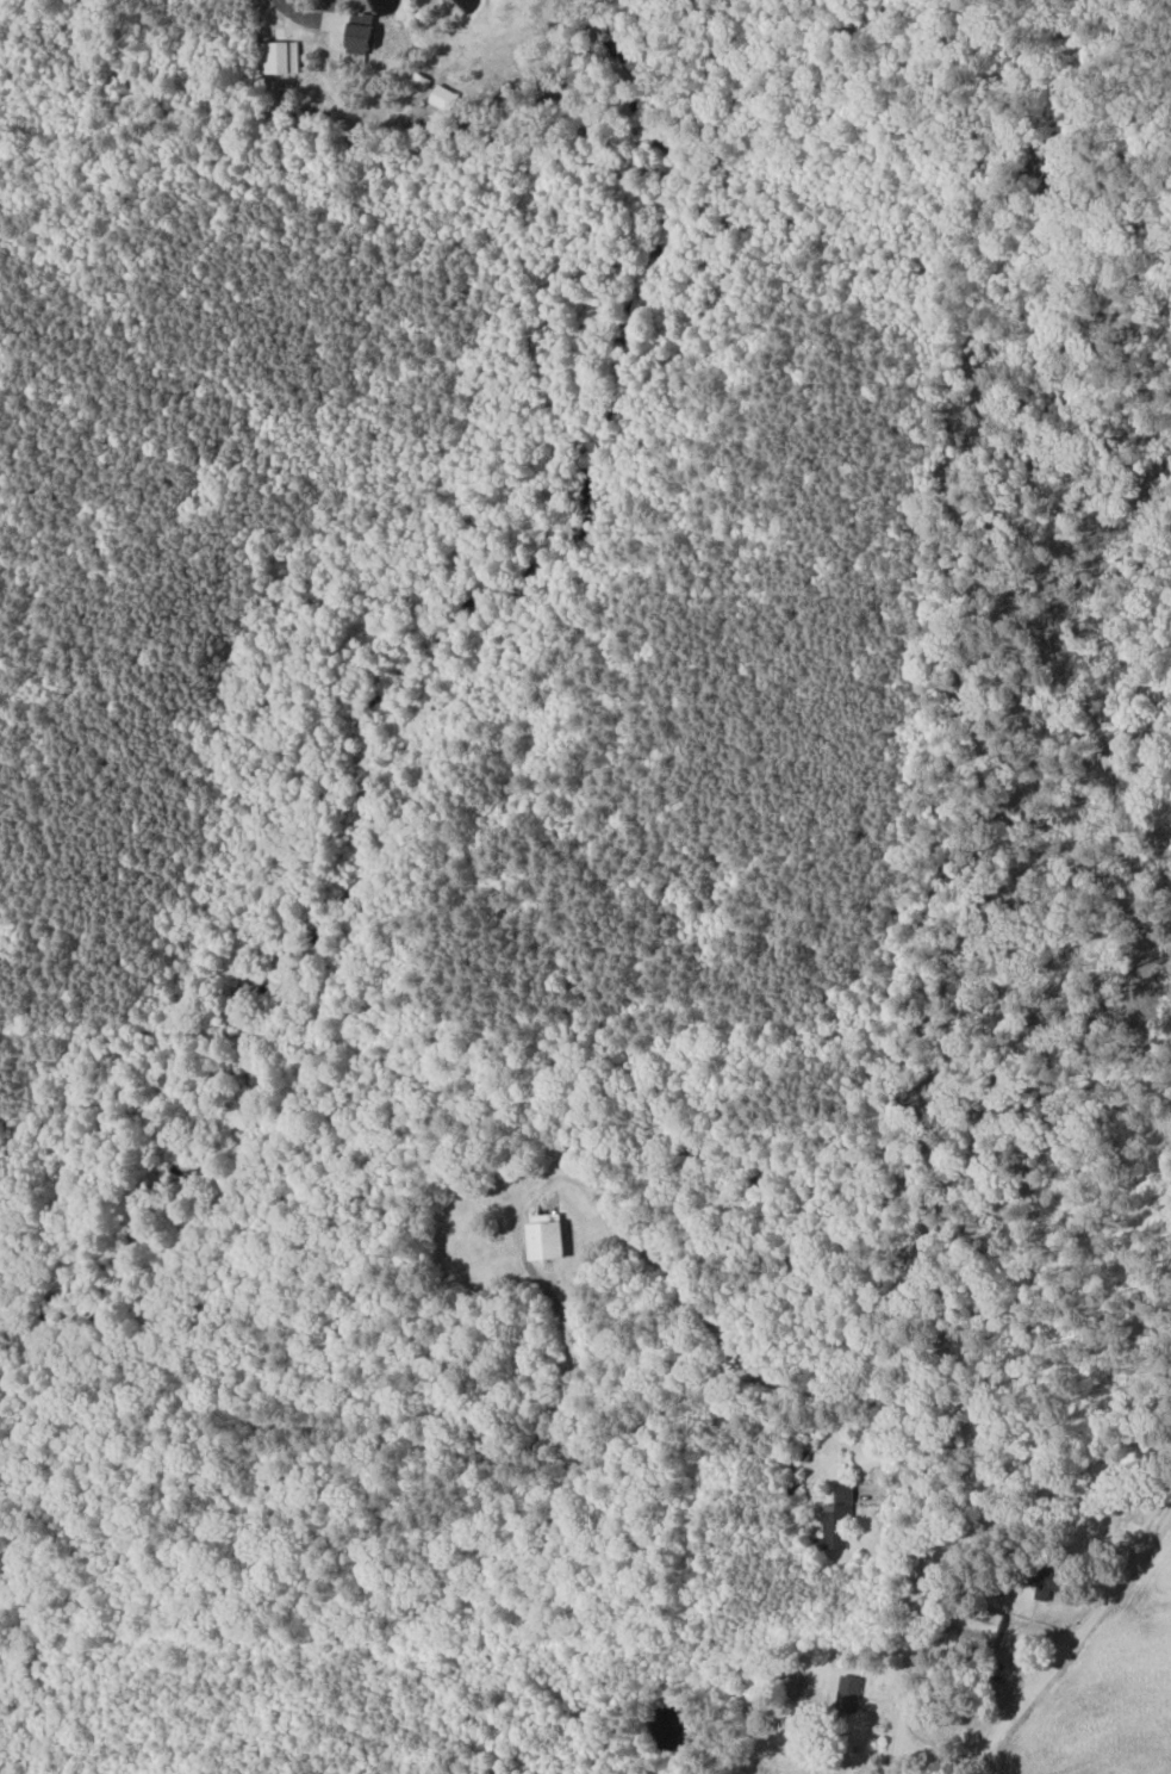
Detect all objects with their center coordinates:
building: (368, 30)
building: (284, 56)
building: (554, 1241)
road: (787, 1385)
road: (1064, 1499)
building: (836, 1522)
building: (1067, 1582)
building: (852, 1694)
road: (989, 1742)
road: (897, 1748)
road: (976, 1761)

